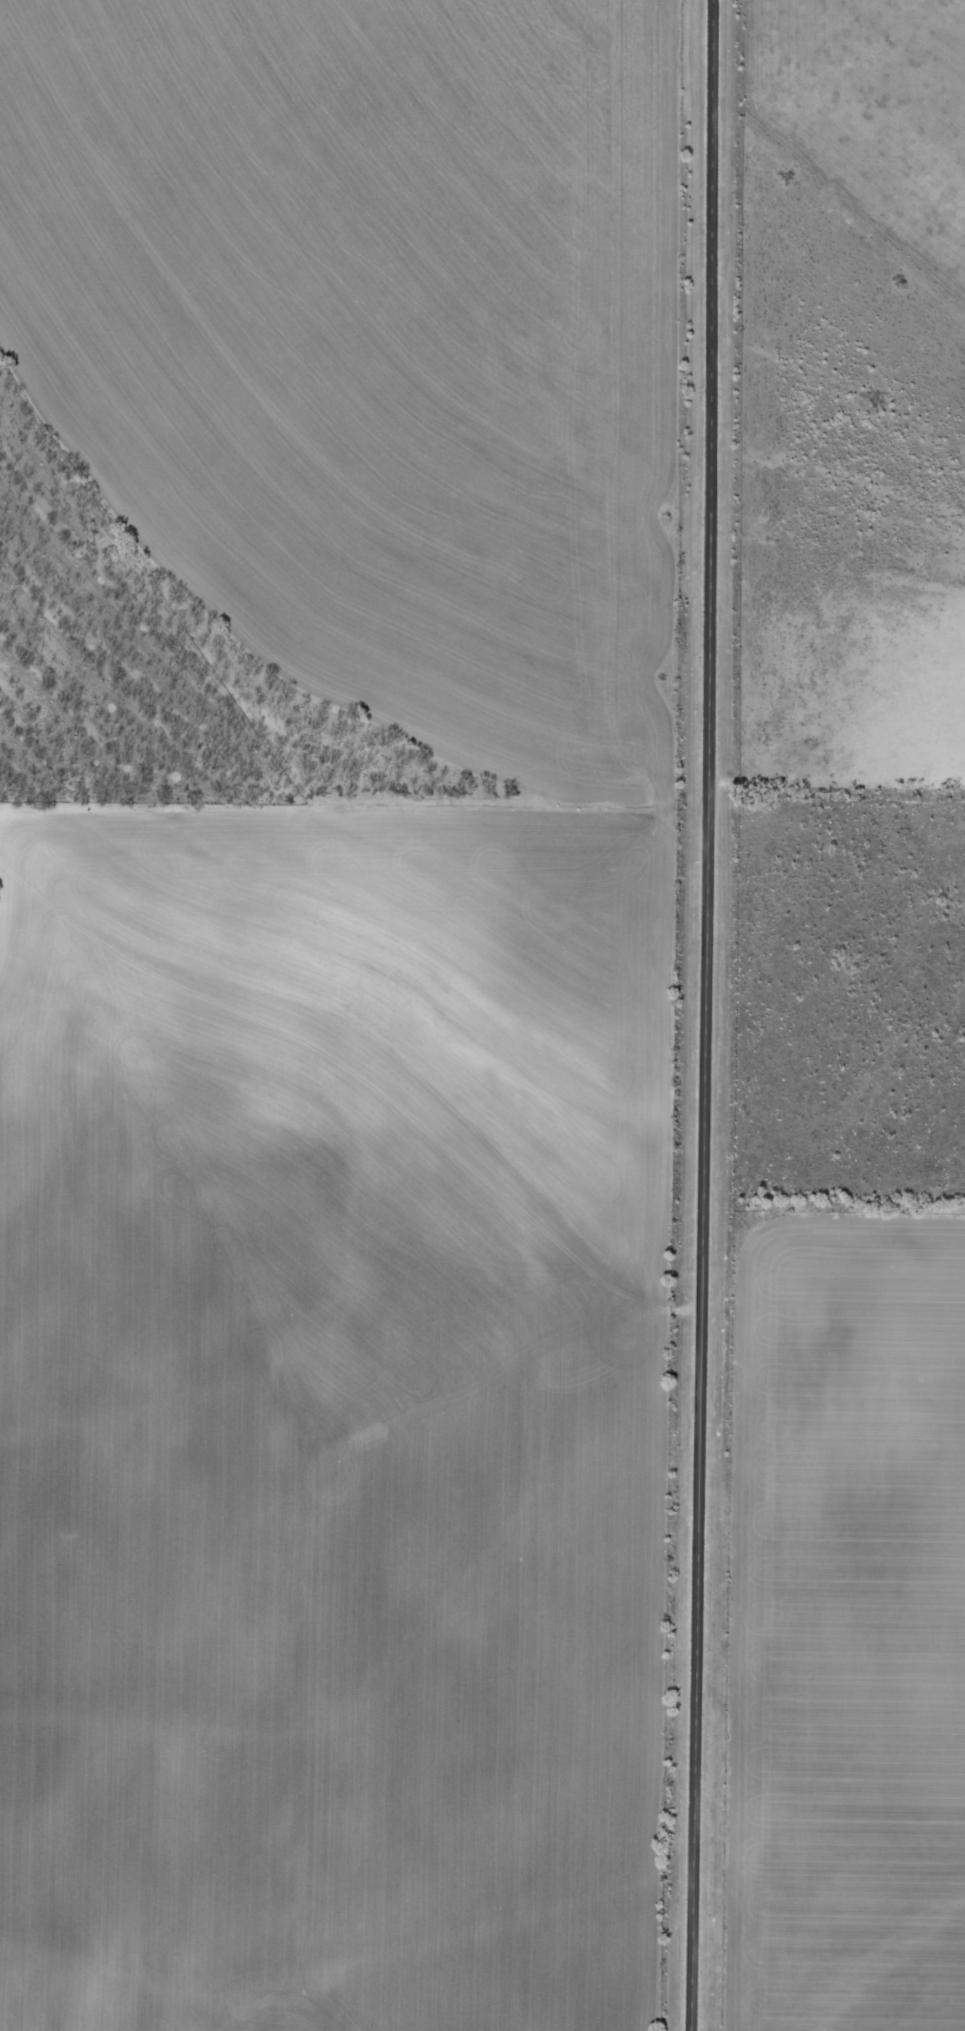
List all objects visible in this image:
road: (836, 807)
road: (704, 1015)

